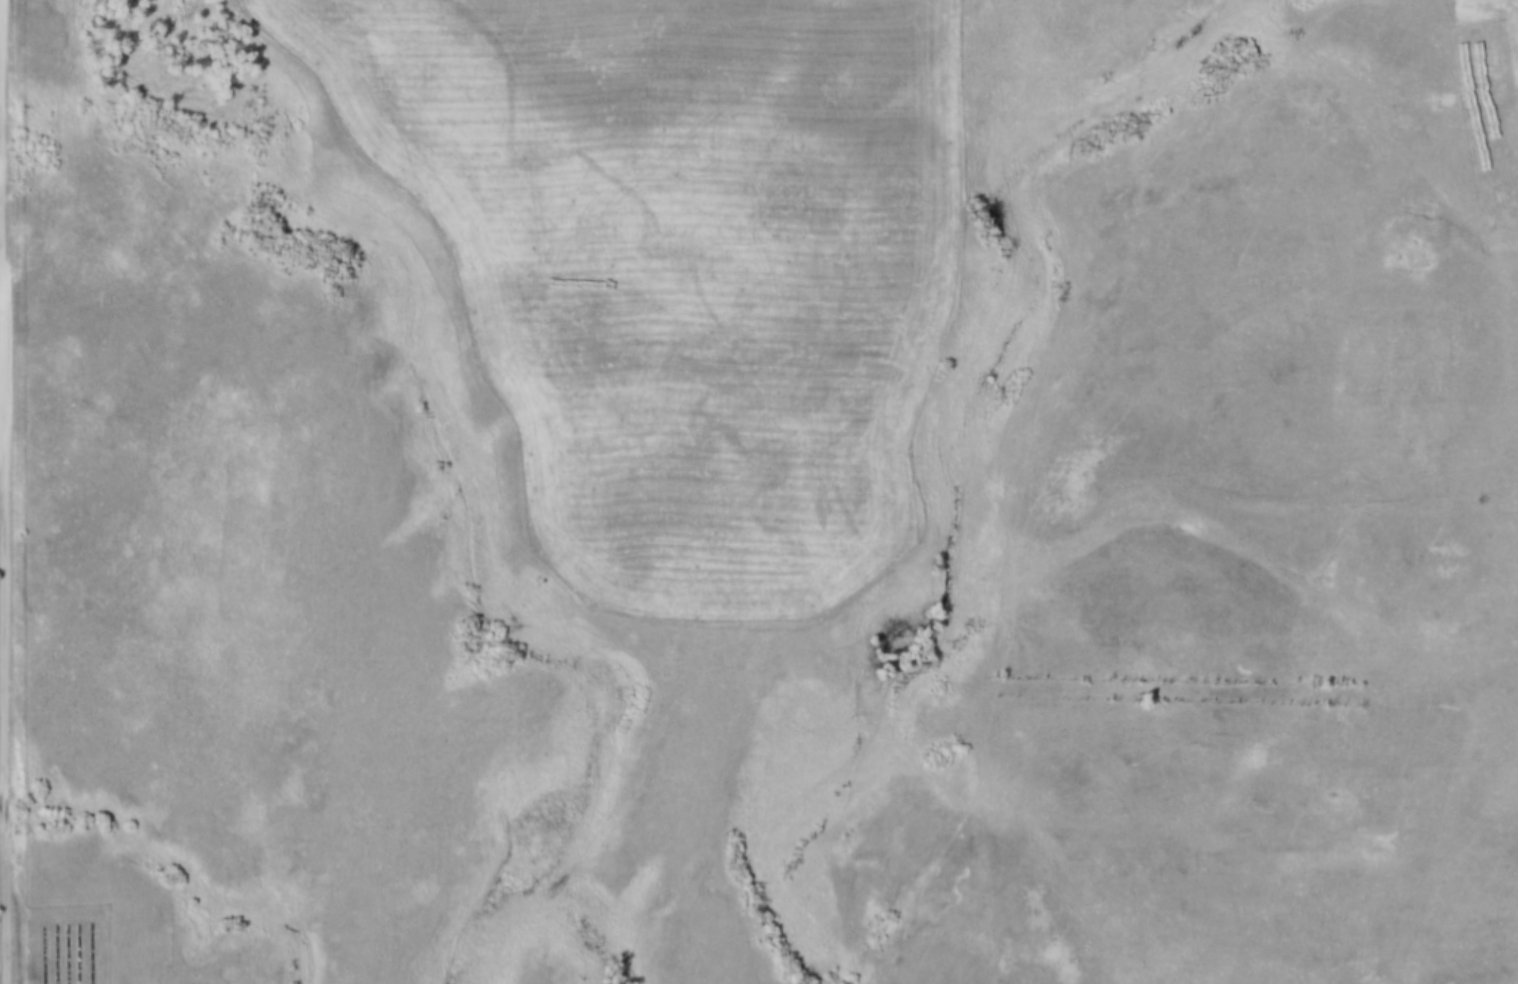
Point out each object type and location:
road: (3, 638)

